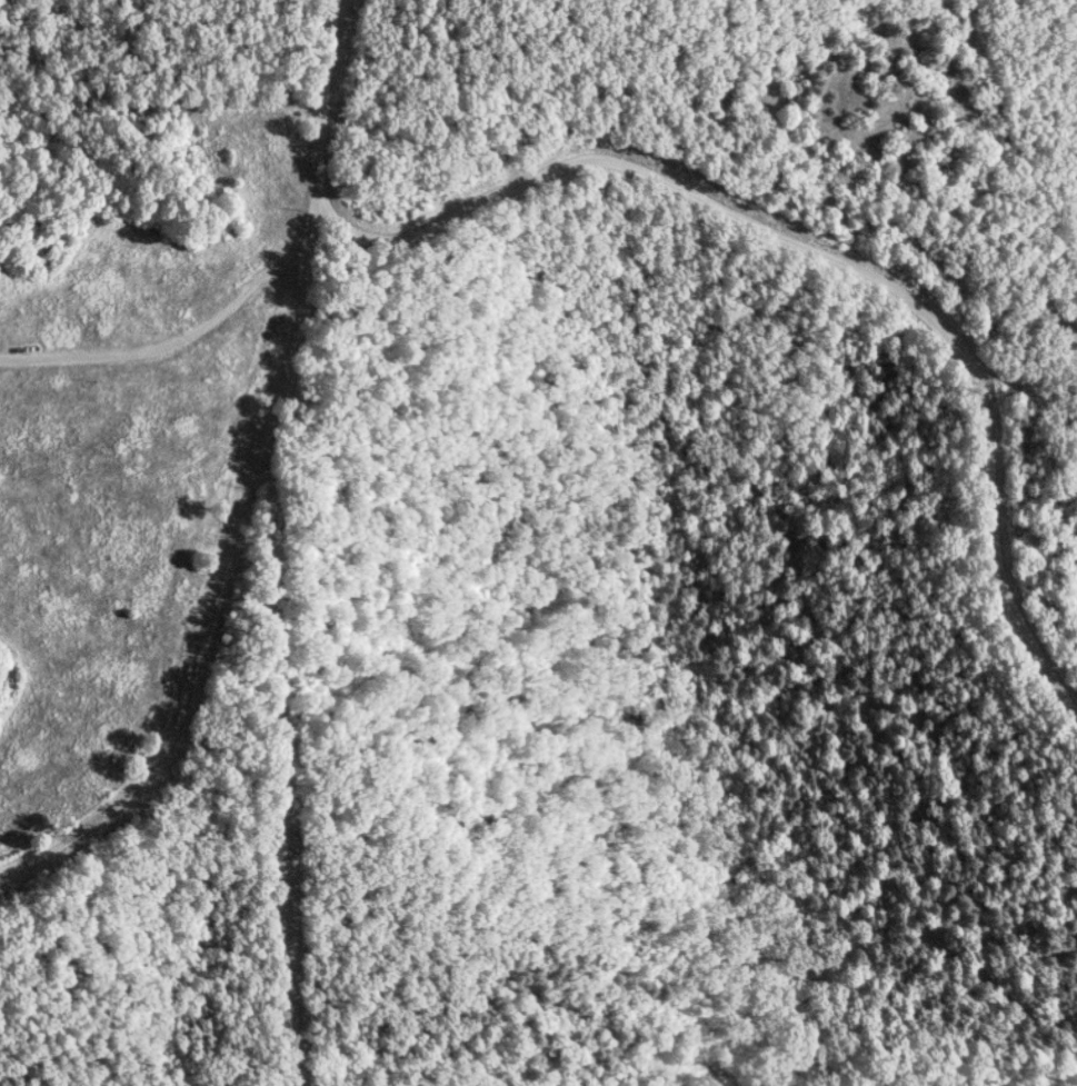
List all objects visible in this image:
road: (316, 114)
road: (830, 260)
road: (168, 336)
road: (208, 585)

